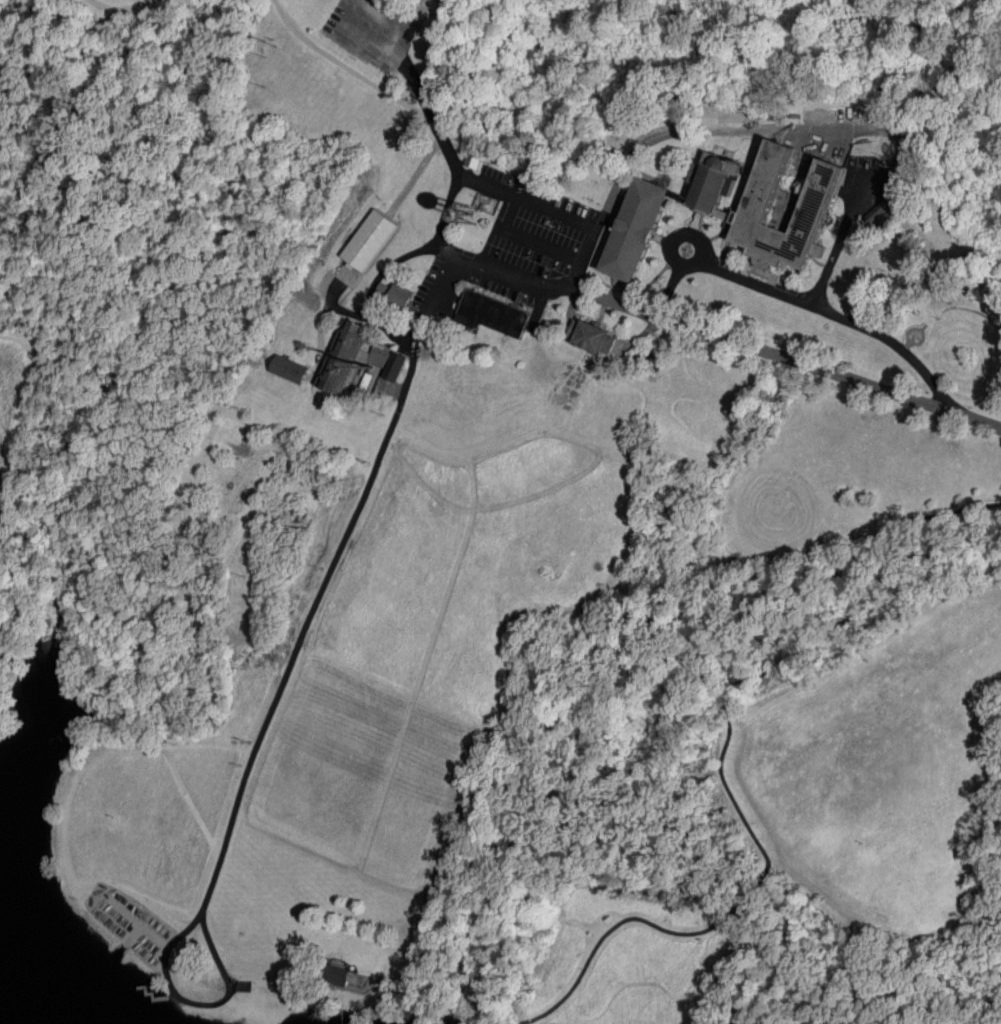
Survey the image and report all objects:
road: (115, 13)
road: (16, 16)
parking lot: (372, 29)
road: (401, 59)
road: (347, 67)
road: (50, 119)
road: (820, 129)
building: (473, 160)
building: (714, 184)
building: (819, 195)
road: (554, 213)
building: (878, 214)
building: (636, 229)
building: (369, 240)
road: (452, 254)
building: (396, 294)
road: (803, 299)
building: (491, 313)
building: (592, 336)
building: (348, 355)
road: (796, 360)
building: (394, 366)
building: (289, 369)
road: (22, 440)
road: (250, 506)
road: (14, 597)
road: (54, 609)
road: (160, 651)
road: (273, 706)
road: (729, 795)
road: (289, 895)
building: (335, 976)

